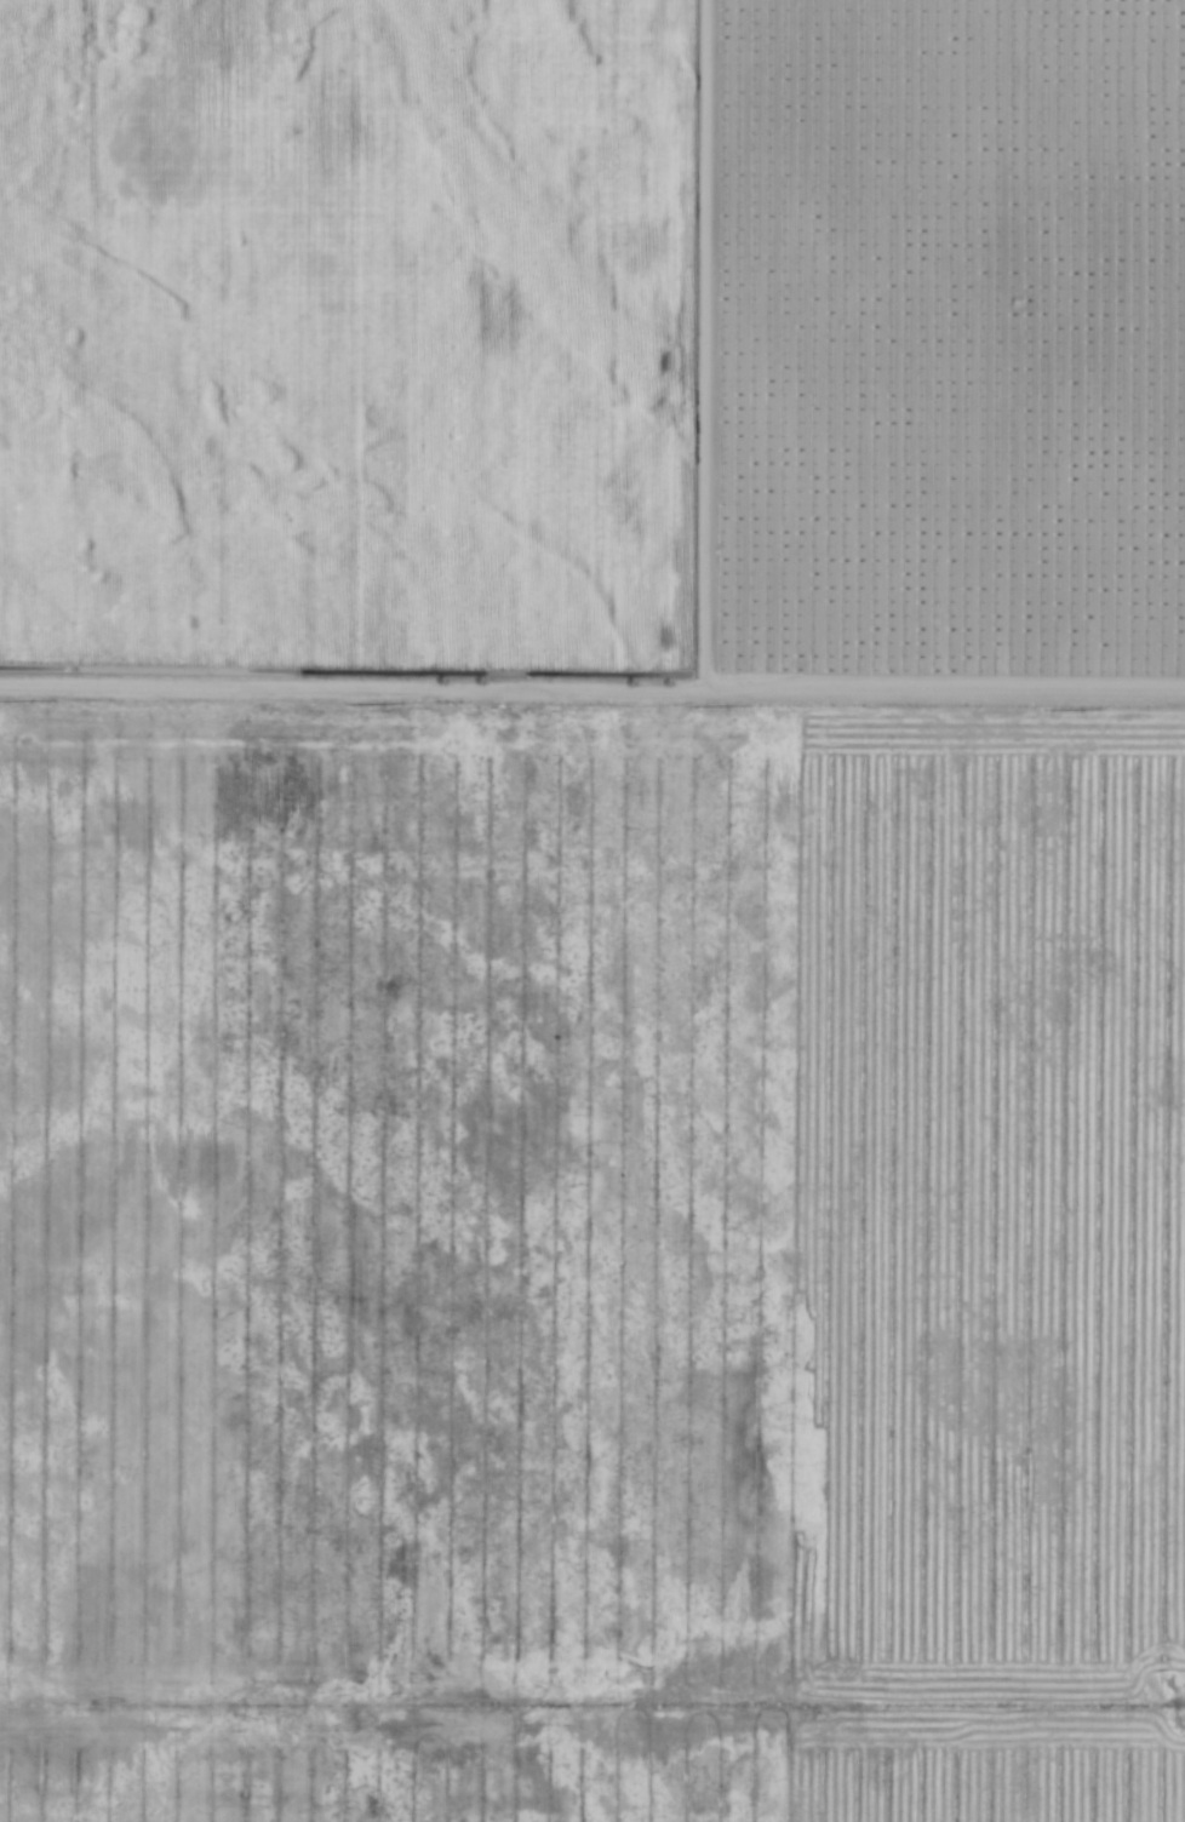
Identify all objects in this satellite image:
road: (592, 796)

